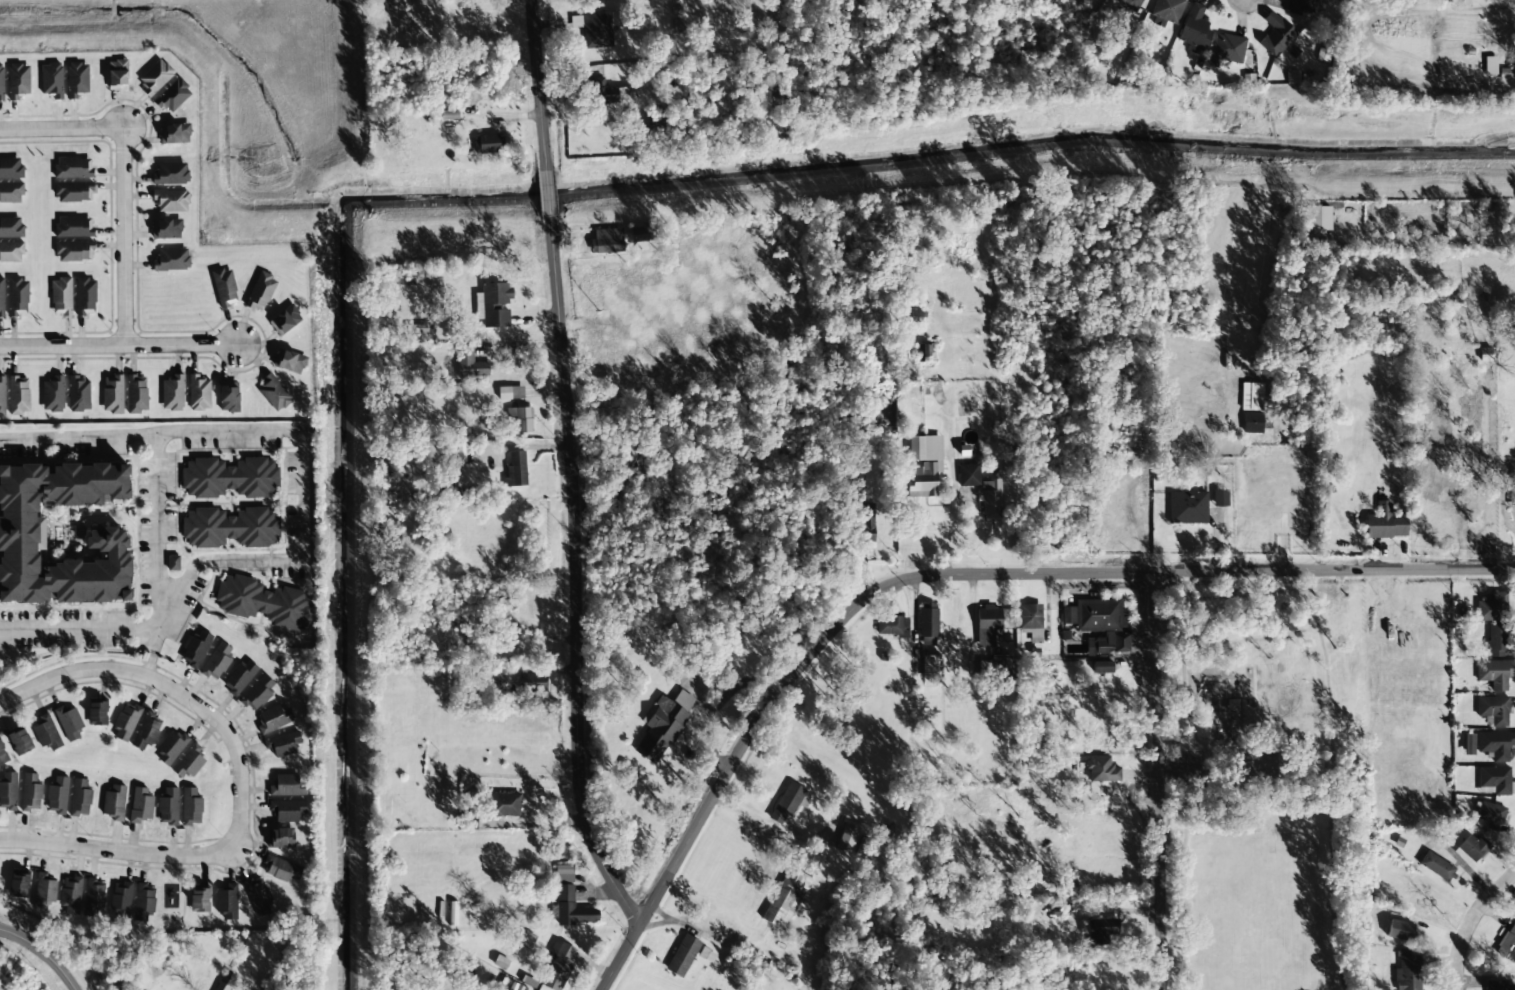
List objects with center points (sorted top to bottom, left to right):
building: (1138, 1)
building: (1166, 12)
building: (595, 28)
building: (1195, 29)
building: (1276, 35)
building: (1226, 48)
building: (1490, 65)
building: (117, 75)
building: (155, 77)
building: (77, 79)
building: (18, 80)
building: (52, 80)
building: (1, 83)
road: (536, 83)
building: (606, 93)
building: (173, 95)
building: (175, 133)
building: (486, 144)
building: (73, 167)
building: (11, 168)
building: (171, 173)
road: (121, 177)
building: (73, 191)
building: (10, 192)
road: (544, 192)
building: (171, 201)
building: (1318, 218)
building: (11, 227)
building: (74, 227)
building: (166, 229)
building: (641, 234)
building: (606, 240)
building: (11, 251)
building: (74, 251)
building: (171, 260)
building: (224, 287)
building: (261, 292)
building: (61, 296)
building: (85, 296)
building: (1, 297)
building: (17, 297)
building: (493, 304)
building: (910, 316)
building: (285, 320)
road: (118, 344)
building: (926, 351)
building: (289, 361)
building: (470, 364)
building: (172, 393)
building: (199, 393)
building: (274, 393)
building: (510, 393)
building: (53, 394)
building: (78, 394)
building: (112, 394)
building: (136, 394)
building: (2, 395)
building: (19, 395)
building: (229, 397)
building: (521, 418)
building: (1252, 422)
building: (924, 465)
building: (516, 469)
building: (969, 475)
building: (230, 478)
building: (1220, 498)
building: (991, 499)
building: (1511, 499)
building: (1187, 507)
building: (1144, 522)
building: (1385, 522)
building: (865, 526)
building: (1111, 526)
building: (230, 527)
building: (22, 540)
road: (950, 575)
road: (575, 577)
building: (264, 602)
building: (1493, 608)
building: (1095, 615)
building: (1030, 616)
building: (928, 620)
building: (987, 625)
building: (893, 626)
building: (1496, 640)
building: (1109, 643)
building: (196, 648)
building: (216, 662)
building: (931, 666)
building: (996, 666)
building: (1102, 667)
building: (1496, 673)
building: (240, 676)
building: (483, 678)
building: (533, 683)
building: (257, 694)
building: (1493, 710)
building: (97, 713)
building: (274, 718)
building: (126, 721)
building: (69, 722)
building: (663, 724)
building: (46, 732)
building: (146, 732)
building: (20, 741)
building: (284, 744)
building: (1495, 744)
building: (171, 747)
building: (2, 754)
building: (189, 762)
building: (1101, 769)
road: (238, 777)
building: (1495, 780)
road: (1160, 782)
building: (286, 786)
building: (8, 791)
building: (31, 792)
building: (57, 795)
building: (80, 797)
building: (114, 802)
building: (787, 802)
building: (504, 804)
building: (141, 805)
building: (191, 806)
building: (168, 807)
building: (287, 810)
building: (1490, 813)
building: (280, 838)
building: (847, 838)
building: (1473, 847)
building: (1436, 866)
building: (282, 869)
building: (564, 873)
building: (18, 884)
building: (44, 891)
building: (71, 894)
building: (258, 896)
building: (93, 898)
building: (786, 898)
building: (121, 899)
building: (143, 900)
building: (200, 900)
building: (227, 901)
building: (573, 908)
road: (1471, 924)
building: (1100, 931)
building: (525, 939)
building: (1507, 943)
road: (42, 953)
building: (707, 955)
building: (684, 956)
building: (558, 964)
building: (1408, 973)
building: (1497, 985)
building: (222, 986)
building: (517, 987)

